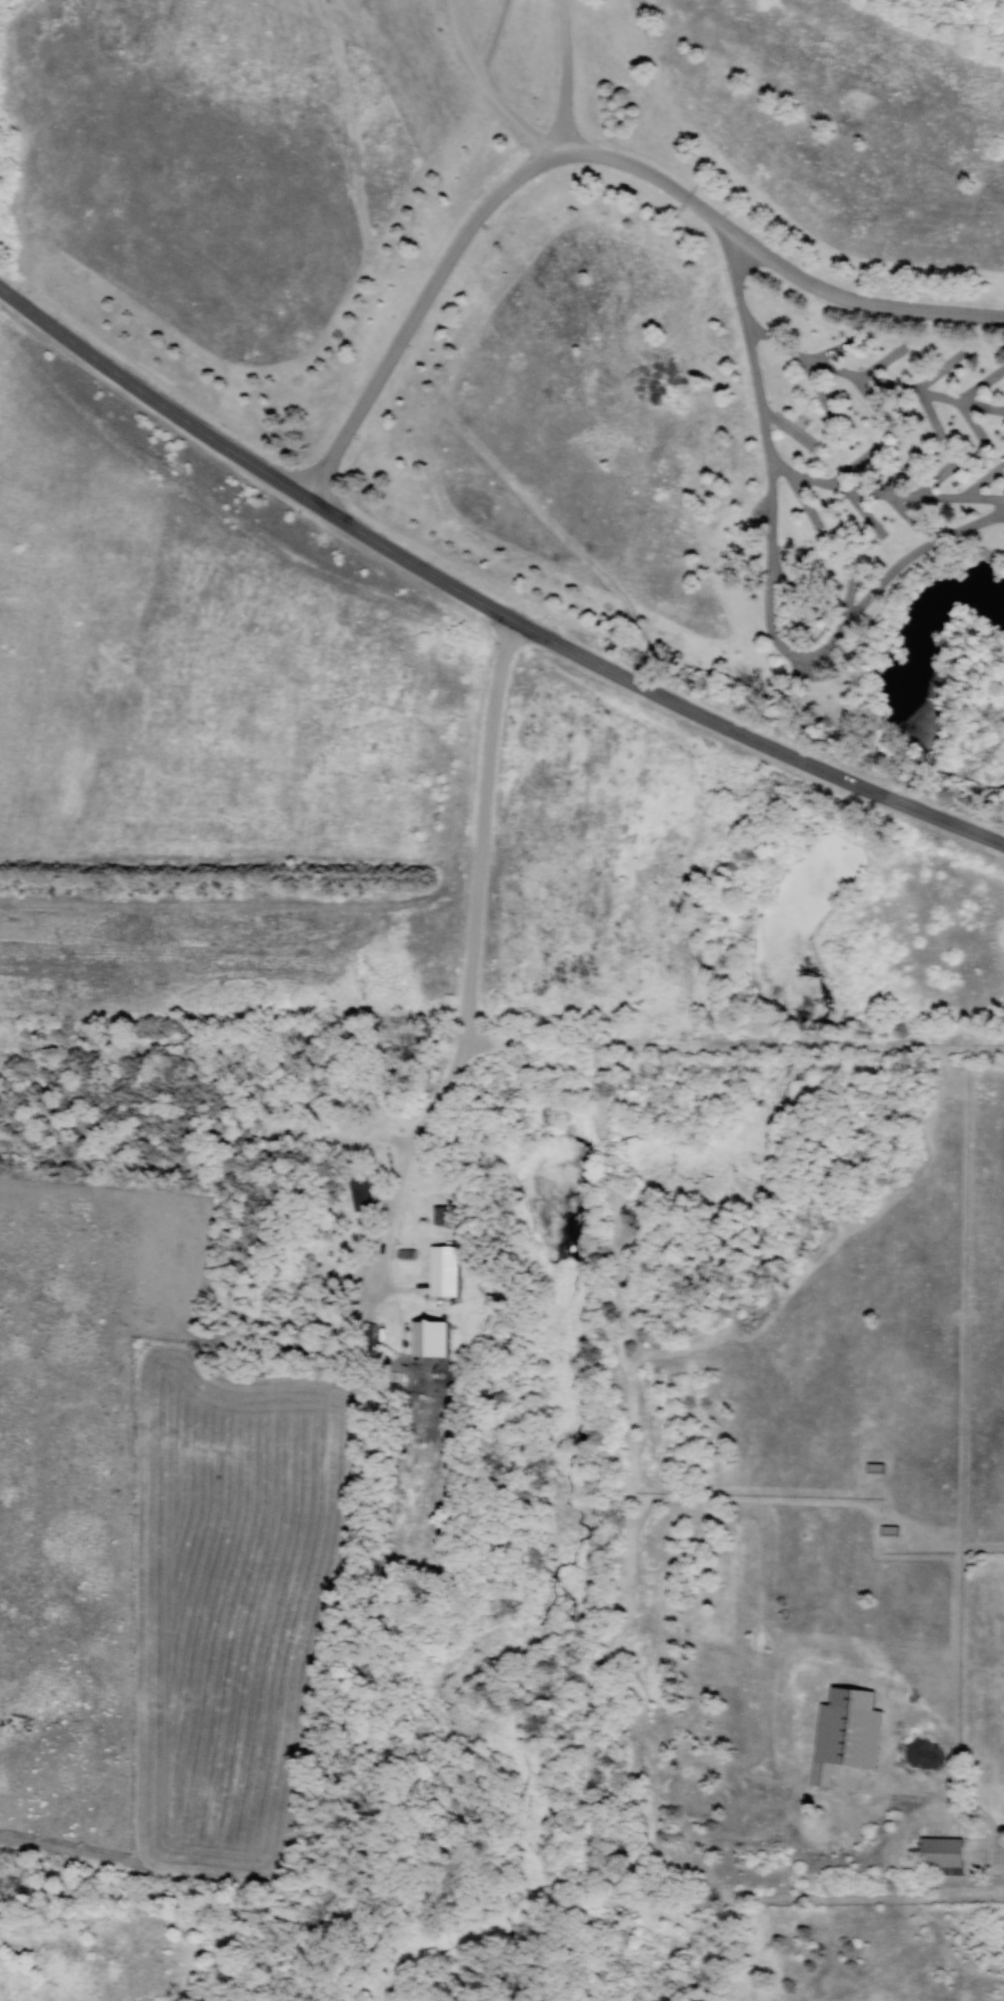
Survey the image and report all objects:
road: (496, 40)
road: (565, 73)
road: (488, 87)
road: (773, 260)
road: (421, 307)
park: (581, 318)
road: (870, 380)
road: (884, 495)
road: (769, 575)
road: (478, 601)
road: (659, 629)
road: (818, 683)
road: (473, 954)
building: (357, 1192)
building: (440, 1214)
building: (441, 1270)
building: (426, 1338)
building: (873, 1468)
building: (887, 1531)
building: (844, 1733)
road: (943, 1798)
building: (940, 1853)

